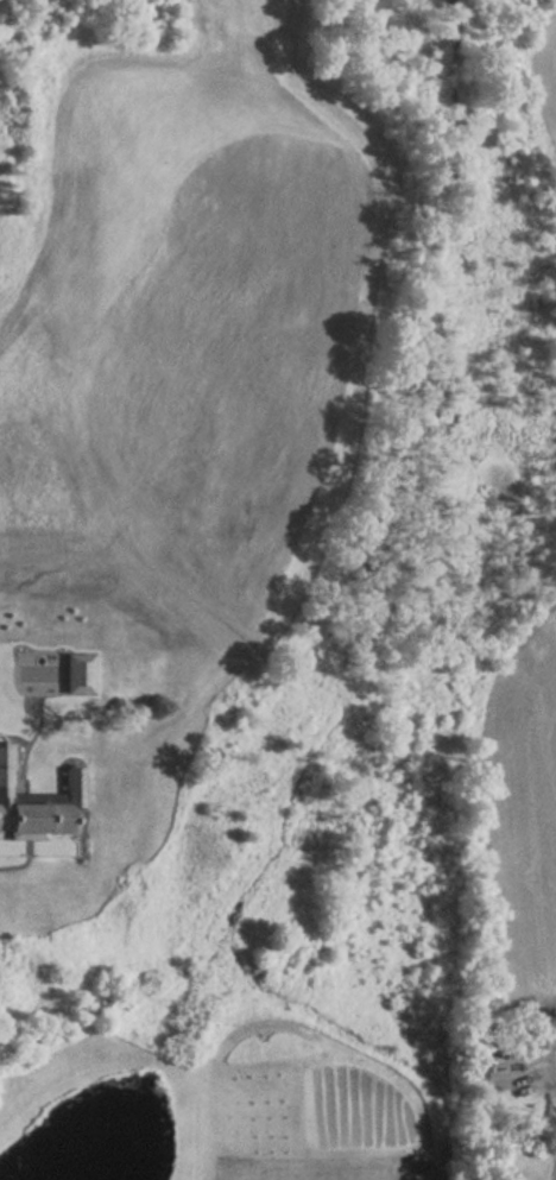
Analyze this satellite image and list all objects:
road: (554, 1169)

